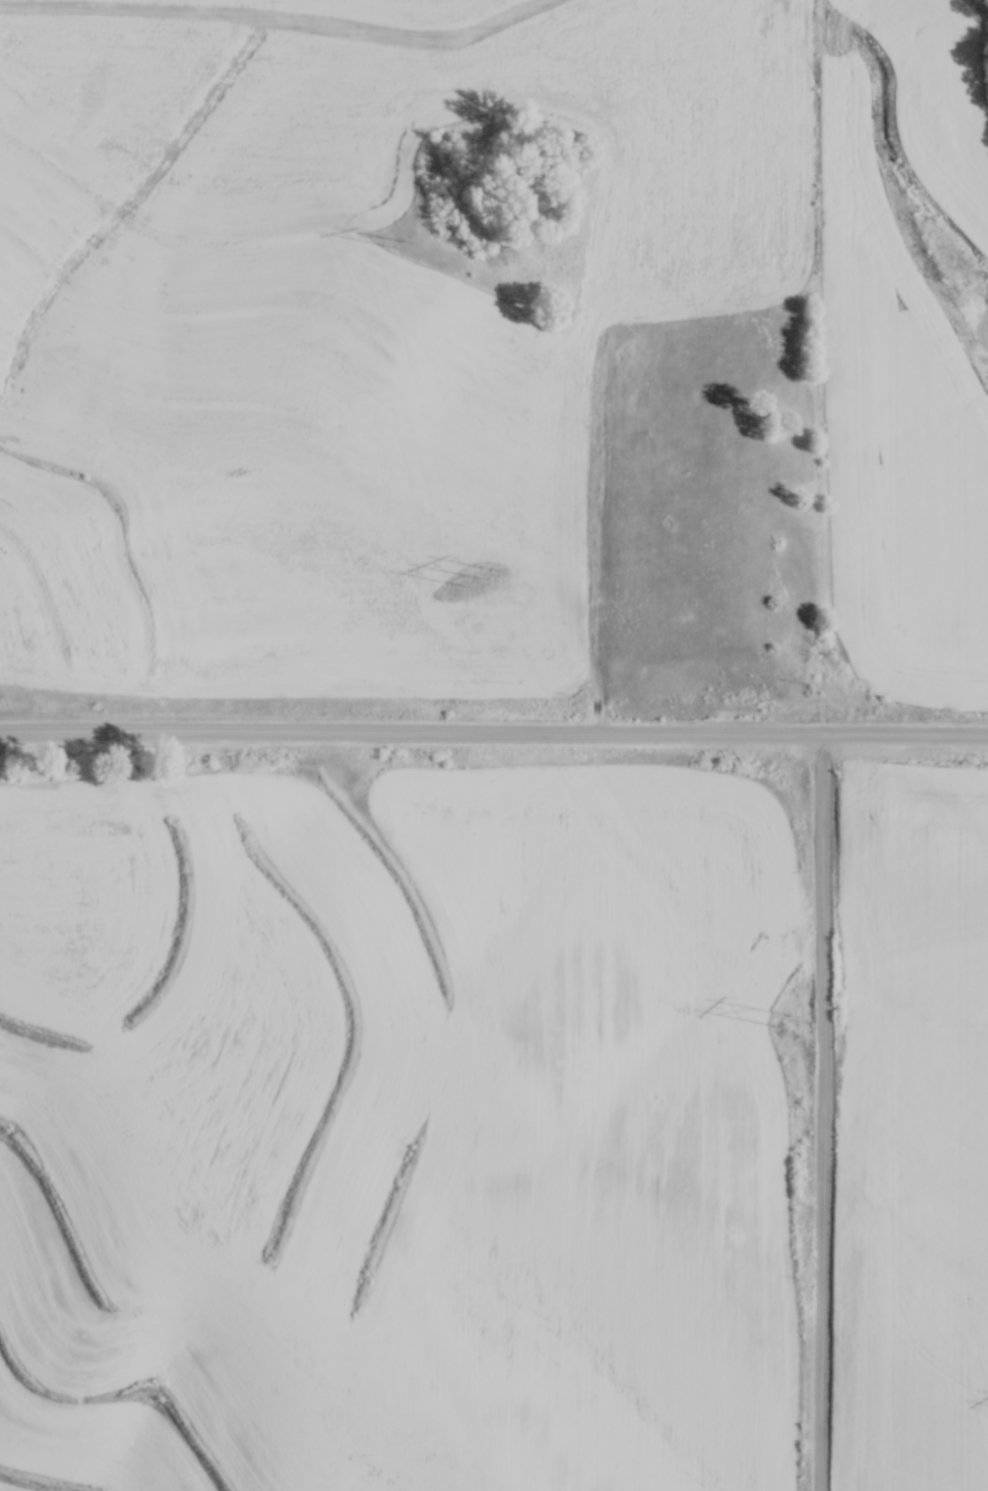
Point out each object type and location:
power tower: (491, 573)
road: (494, 730)
power tower: (793, 1028)
road: (823, 1111)

